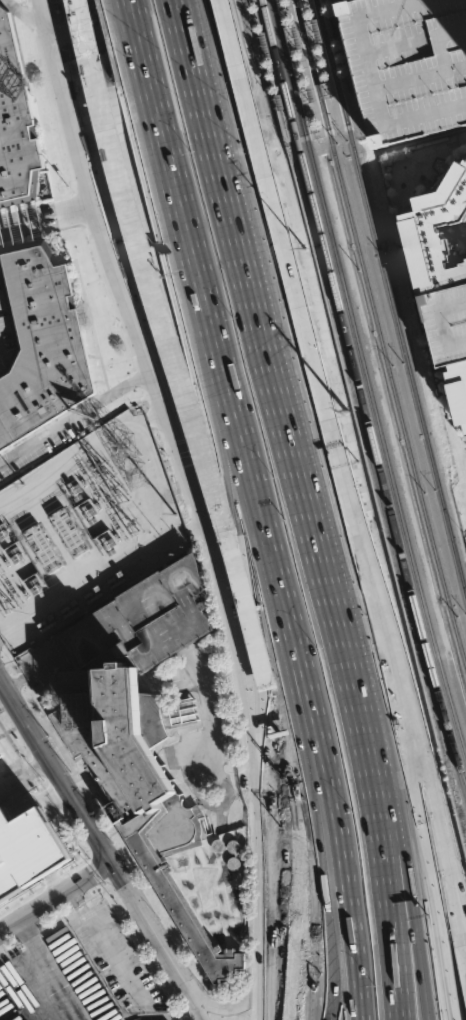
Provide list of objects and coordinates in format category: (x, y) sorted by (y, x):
building: (251, 0)
road: (12, 7)
road: (34, 12)
road: (132, 19)
road: (137, 19)
building: (329, 25)
building: (313, 30)
building: (293, 35)
building: (264, 42)
power tower: (252, 56)
building: (409, 64)
parking garage: (409, 64)
road: (376, 73)
building: (344, 83)
building: (328, 87)
building: (307, 93)
building: (278, 100)
railway: (353, 121)
building: (14, 124)
road: (216, 124)
railway: (335, 126)
road: (337, 127)
railway: (315, 131)
road: (318, 132)
road: (323, 132)
railway: (287, 139)
road: (419, 139)
building: (112, 150)
road: (173, 171)
road: (65, 205)
road: (18, 216)
road: (69, 220)
building: (436, 228)
road: (20, 233)
building: (1, 243)
railway: (335, 250)
power tower: (305, 256)
railway: (390, 299)
building: (447, 317)
parking garage: (447, 317)
railway: (378, 335)
building: (39, 342)
road: (181, 367)
road: (145, 374)
road: (157, 385)
building: (458, 386)
road: (326, 389)
railway: (359, 392)
road: (69, 419)
power tower: (347, 421)
road: (290, 431)
road: (243, 454)
power tower: (135, 474)
power substation: (84, 530)
building: (35, 533)
building: (73, 536)
road: (243, 536)
building: (142, 617)
railway: (431, 625)
road: (43, 663)
road: (12, 679)
road: (208, 741)
building: (1, 752)
building: (0, 756)
building: (138, 781)
road: (222, 803)
road: (336, 810)
road: (399, 813)
road: (378, 816)
building: (29, 849)
road: (104, 853)
road: (270, 869)
road: (446, 870)
road: (314, 875)
road: (300, 876)
road: (55, 898)
road: (434, 900)
road: (111, 956)
road: (49, 969)
road: (269, 993)
road: (241, 1006)

